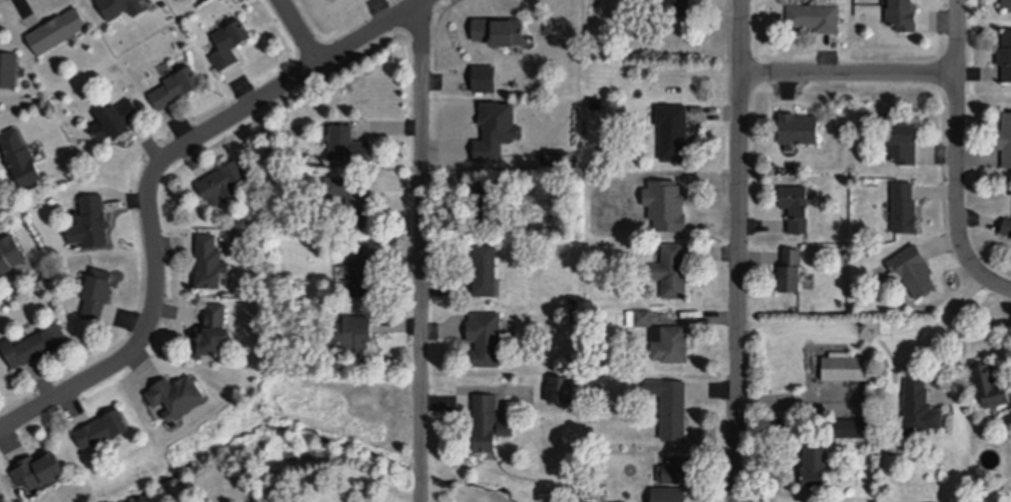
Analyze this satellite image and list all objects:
building: (1007, 2)
building: (121, 6)
building: (678, 6)
building: (815, 13)
building: (903, 13)
building: (628, 18)
building: (500, 25)
building: (58, 28)
road: (302, 31)
building: (230, 39)
building: (1005, 52)
building: (8, 66)
building: (485, 75)
road: (849, 76)
building: (177, 83)
building: (597, 100)
building: (117, 116)
building: (799, 124)
building: (673, 126)
building: (1006, 135)
building: (903, 138)
building: (347, 141)
road: (957, 141)
building: (20, 154)
building: (280, 154)
building: (279, 169)
building: (526, 173)
building: (223, 179)
road: (152, 182)
building: (526, 186)
building: (352, 196)
building: (487, 198)
building: (796, 203)
building: (904, 204)
building: (92, 219)
building: (1007, 223)
building: (645, 247)
building: (10, 250)
road: (740, 251)
road: (422, 253)
building: (211, 258)
building: (360, 266)
building: (791, 266)
building: (486, 267)
building: (914, 267)
building: (672, 268)
road: (996, 284)
building: (98, 290)
building: (574, 295)
building: (572, 310)
building: (640, 315)
building: (213, 327)
building: (353, 329)
road: (942, 331)
building: (486, 334)
building: (672, 341)
building: (35, 342)
building: (845, 364)
building: (595, 380)
building: (990, 381)
building: (561, 386)
building: (177, 390)
road: (791, 399)
building: (672, 403)
building: (920, 404)
building: (487, 419)
building: (104, 424)
building: (850, 425)
building: (816, 458)
building: (40, 466)
building: (670, 471)
building: (572, 488)
building: (0, 491)
building: (669, 493)
building: (0, 500)

